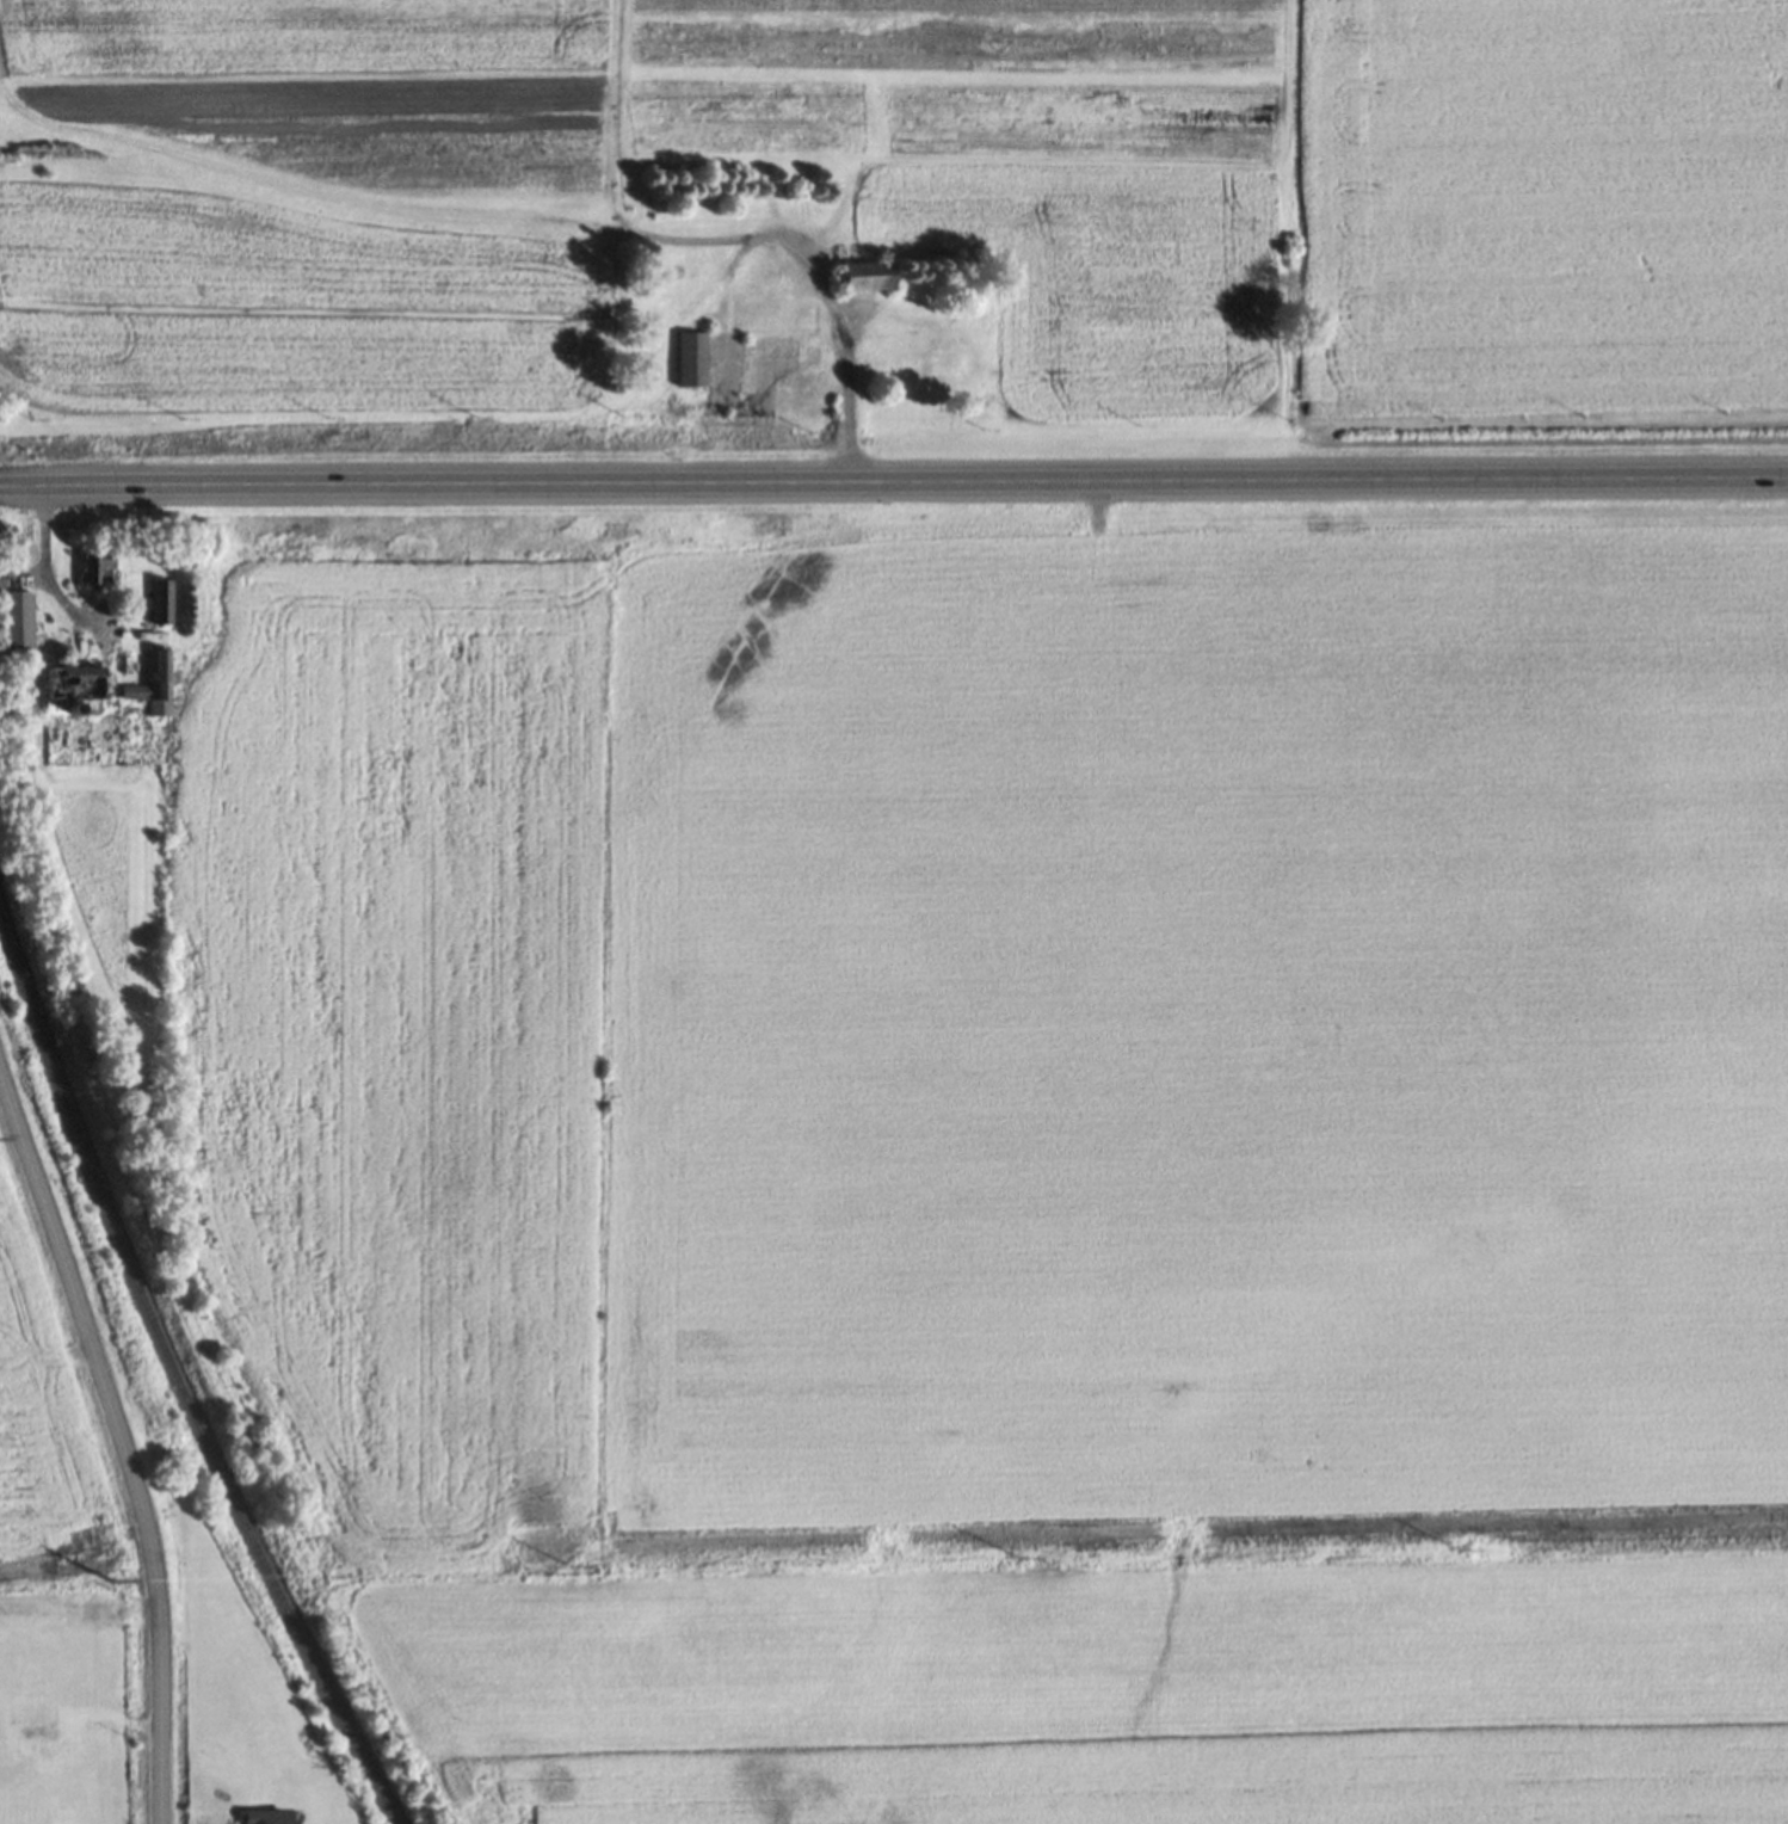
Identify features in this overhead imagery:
crop: (618, 198)
crop: (1548, 205)
building: (864, 284)
building: (777, 323)
building: (689, 366)
building: (947, 368)
road: (893, 487)
building: (93, 577)
building: (0, 585)
building: (1437, 598)
building: (156, 609)
building: (14, 628)
building: (73, 689)
building: (150, 691)
crop: (982, 1039)
railway: (174, 1387)
road: (122, 1454)
power tower: (106, 1589)

